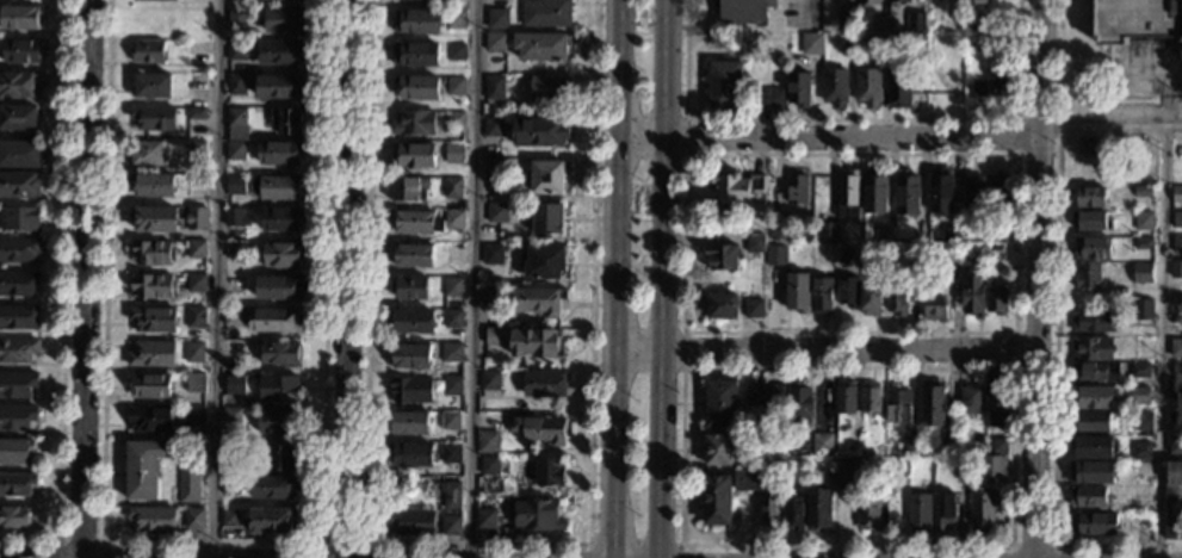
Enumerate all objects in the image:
building: (868, 1)
building: (899, 1)
building: (974, 1)
building: (743, 10)
road: (780, 10)
road: (811, 10)
building: (957, 11)
building: (545, 13)
building: (237, 17)
building: (19, 18)
building: (284, 19)
building: (456, 19)
building: (497, 19)
road: (704, 19)
building: (1135, 20)
building: (417, 21)
building: (844, 21)
building: (915, 23)
building: (973, 23)
building: (879, 24)
building: (495, 42)
building: (849, 42)
building: (916, 42)
building: (984, 42)
building: (877, 43)
building: (811, 44)
building: (197, 45)
building: (540, 46)
building: (946, 46)
building: (237, 50)
building: (20, 51)
building: (147, 51)
building: (279, 52)
building: (456, 52)
building: (415, 54)
building: (18, 83)
building: (196, 83)
building: (236, 83)
building: (456, 85)
building: (151, 86)
building: (277, 86)
building: (725, 86)
building: (899, 86)
building: (416, 87)
building: (834, 87)
building: (867, 87)
building: (494, 88)
building: (550, 88)
building: (932, 88)
building: (798, 89)
building: (989, 89)
building: (767, 98)
building: (196, 113)
building: (236, 117)
building: (17, 118)
building: (153, 118)
building: (286, 120)
building: (456, 120)
road: (850, 120)
building: (414, 123)
road: (1110, 125)
building: (493, 126)
building: (539, 131)
road: (831, 141)
building: (196, 145)
building: (1088, 147)
building: (235, 150)
building: (144, 153)
building: (19, 154)
building: (278, 154)
building: (453, 154)
road: (655, 154)
road: (1020, 154)
building: (414, 155)
building: (493, 170)
building: (1177, 174)
building: (545, 176)
building: (19, 184)
building: (151, 185)
building: (235, 185)
building: (277, 187)
building: (735, 187)
building: (409, 188)
building: (452, 188)
building: (797, 190)
building: (972, 190)
building: (940, 191)
building: (998, 191)
building: (874, 192)
building: (906, 192)
building: (1143, 192)
building: (1176, 194)
building: (847, 196)
building: (1090, 197)
building: (497, 212)
building: (236, 218)
building: (546, 218)
building: (20, 219)
building: (153, 219)
building: (197, 219)
building: (280, 219)
building: (453, 219)
building: (1091, 221)
building: (1143, 221)
building: (1177, 221)
building: (416, 222)
building: (779, 229)
building: (828, 232)
building: (884, 234)
building: (965, 234)
building: (996, 234)
building: (918, 235)
building: (951, 235)
building: (755, 243)
building: (1143, 243)
building: (1177, 244)
building: (1091, 248)
building: (19, 249)
building: (196, 249)
building: (234, 249)
building: (149, 253)
building: (995, 253)
building: (281, 254)
building: (411, 254)
building: (491, 254)
building: (775, 254)
building: (844, 255)
building: (720, 256)
building: (915, 258)
building: (543, 261)
building: (1176, 269)
building: (1141, 273)
building: (1087, 275)
road: (82, 278)
road: (344, 278)
road: (471, 278)
road: (664, 278)
road: (217, 279)
road: (618, 279)
road: (1038, 279)
building: (18, 283)
building: (196, 283)
building: (233, 285)
building: (151, 286)
building: (452, 286)
building: (278, 287)
building: (409, 287)
building: (797, 291)
building: (848, 292)
building: (1122, 292)
building: (822, 296)
building: (972, 296)
building: (491, 297)
road: (61, 298)
building: (896, 299)
building: (996, 299)
building: (538, 300)
building: (871, 300)
building: (934, 305)
building: (722, 306)
building: (753, 308)
building: (1143, 309)
building: (19, 317)
building: (194, 317)
building: (233, 317)
building: (1176, 317)
building: (151, 320)
building: (452, 320)
building: (273, 321)
building: (410, 321)
building: (1091, 322)
road: (1014, 330)
road: (1054, 335)
building: (497, 336)
road: (1161, 341)
building: (537, 343)
building: (1091, 348)
building: (1175, 348)
building: (17, 349)
building: (193, 352)
road: (827, 352)
building: (151, 353)
building: (233, 353)
building: (280, 353)
building: (451, 353)
building: (411, 356)
road: (1016, 367)
building: (1176, 368)
road: (654, 370)
building: (1139, 370)
building: (1090, 372)
building: (489, 382)
building: (194, 383)
building: (17, 384)
building: (230, 384)
building: (544, 384)
building: (150, 386)
building: (451, 386)
building: (278, 389)
building: (410, 390)
building: (765, 395)
building: (1176, 395)
building: (1139, 396)
building: (1091, 397)
building: (844, 398)
building: (870, 398)
building: (997, 398)
building: (970, 399)
building: (799, 403)
building: (933, 403)
building: (720, 404)
building: (898, 407)
building: (230, 414)
building: (193, 416)
building: (1175, 416)
building: (17, 417)
building: (149, 420)
building: (450, 421)
building: (1090, 421)
building: (1141, 421)
building: (277, 422)
building: (409, 423)
building: (537, 429)
building: (487, 441)
building: (822, 444)
building: (910, 444)
building: (850, 445)
building: (948, 445)
building: (1175, 445)
building: (230, 446)
building: (997, 446)
building: (1094, 447)
building: (718, 449)
building: (16, 451)
building: (1141, 451)
building: (410, 454)
building: (450, 454)
building: (281, 458)
building: (489, 465)
building: (750, 465)
building: (830, 465)
building: (143, 467)
building: (994, 467)
building: (1140, 471)
building: (550, 472)
building: (963, 472)
building: (1091, 472)
building: (847, 475)
building: (763, 479)
building: (748, 482)
building: (16, 484)
building: (188, 484)
building: (229, 485)
building: (272, 486)
building: (447, 495)
building: (1088, 496)
building: (1139, 496)
building: (717, 500)
building: (1172, 501)
building: (818, 507)
building: (983, 510)
building: (769, 511)
building: (943, 511)
building: (793, 513)
building: (918, 513)
building: (538, 515)
building: (867, 515)
building: (17, 516)
building: (193, 519)
building: (229, 519)
building: (485, 519)
building: (151, 520)
building: (271, 521)
building: (411, 522)
building: (1095, 525)
building: (451, 526)
road: (79, 539)
road: (211, 540)
road: (341, 542)
road: (475, 544)
road: (632, 544)
road: (1009, 544)
road: (1032, 544)
road: (800, 551)

